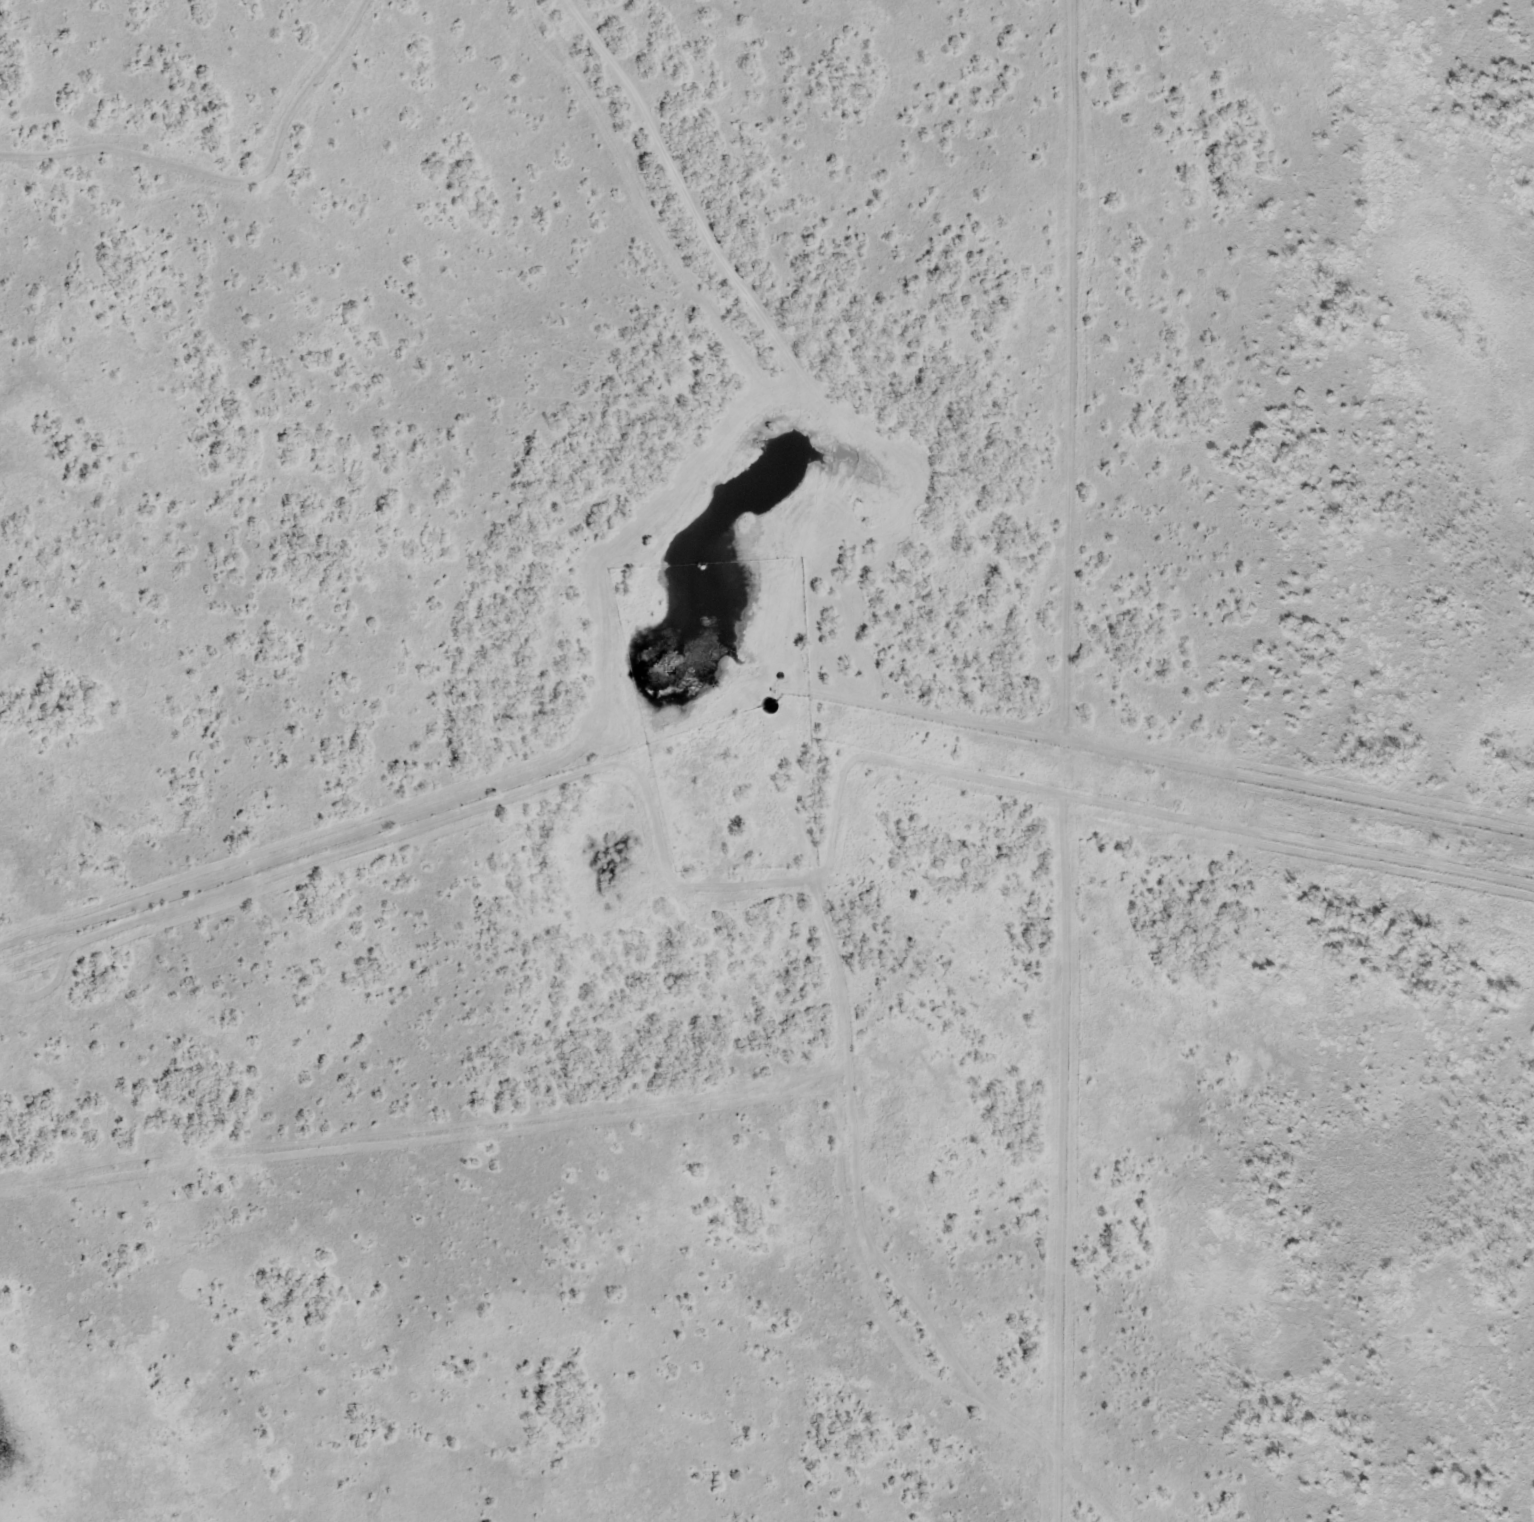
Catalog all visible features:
road: (839, 696)
road: (1035, 761)

